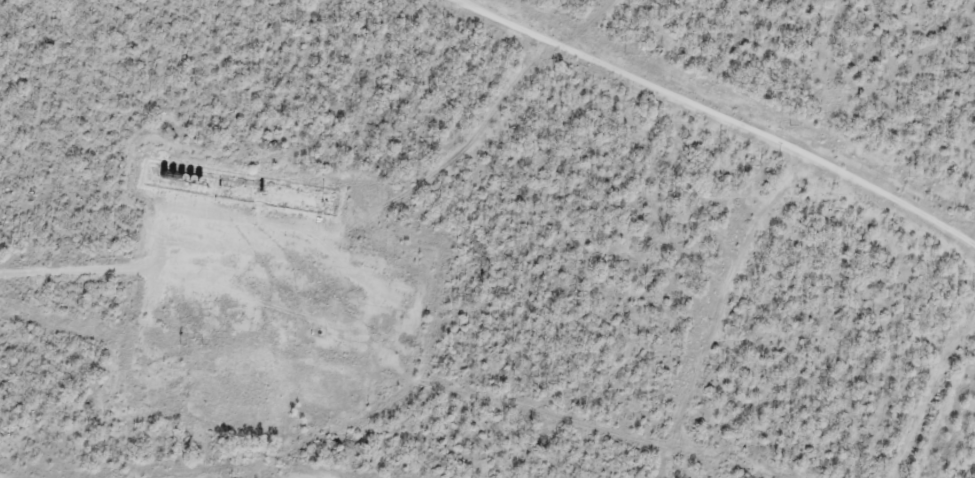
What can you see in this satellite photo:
road: (714, 117)
road: (143, 274)

